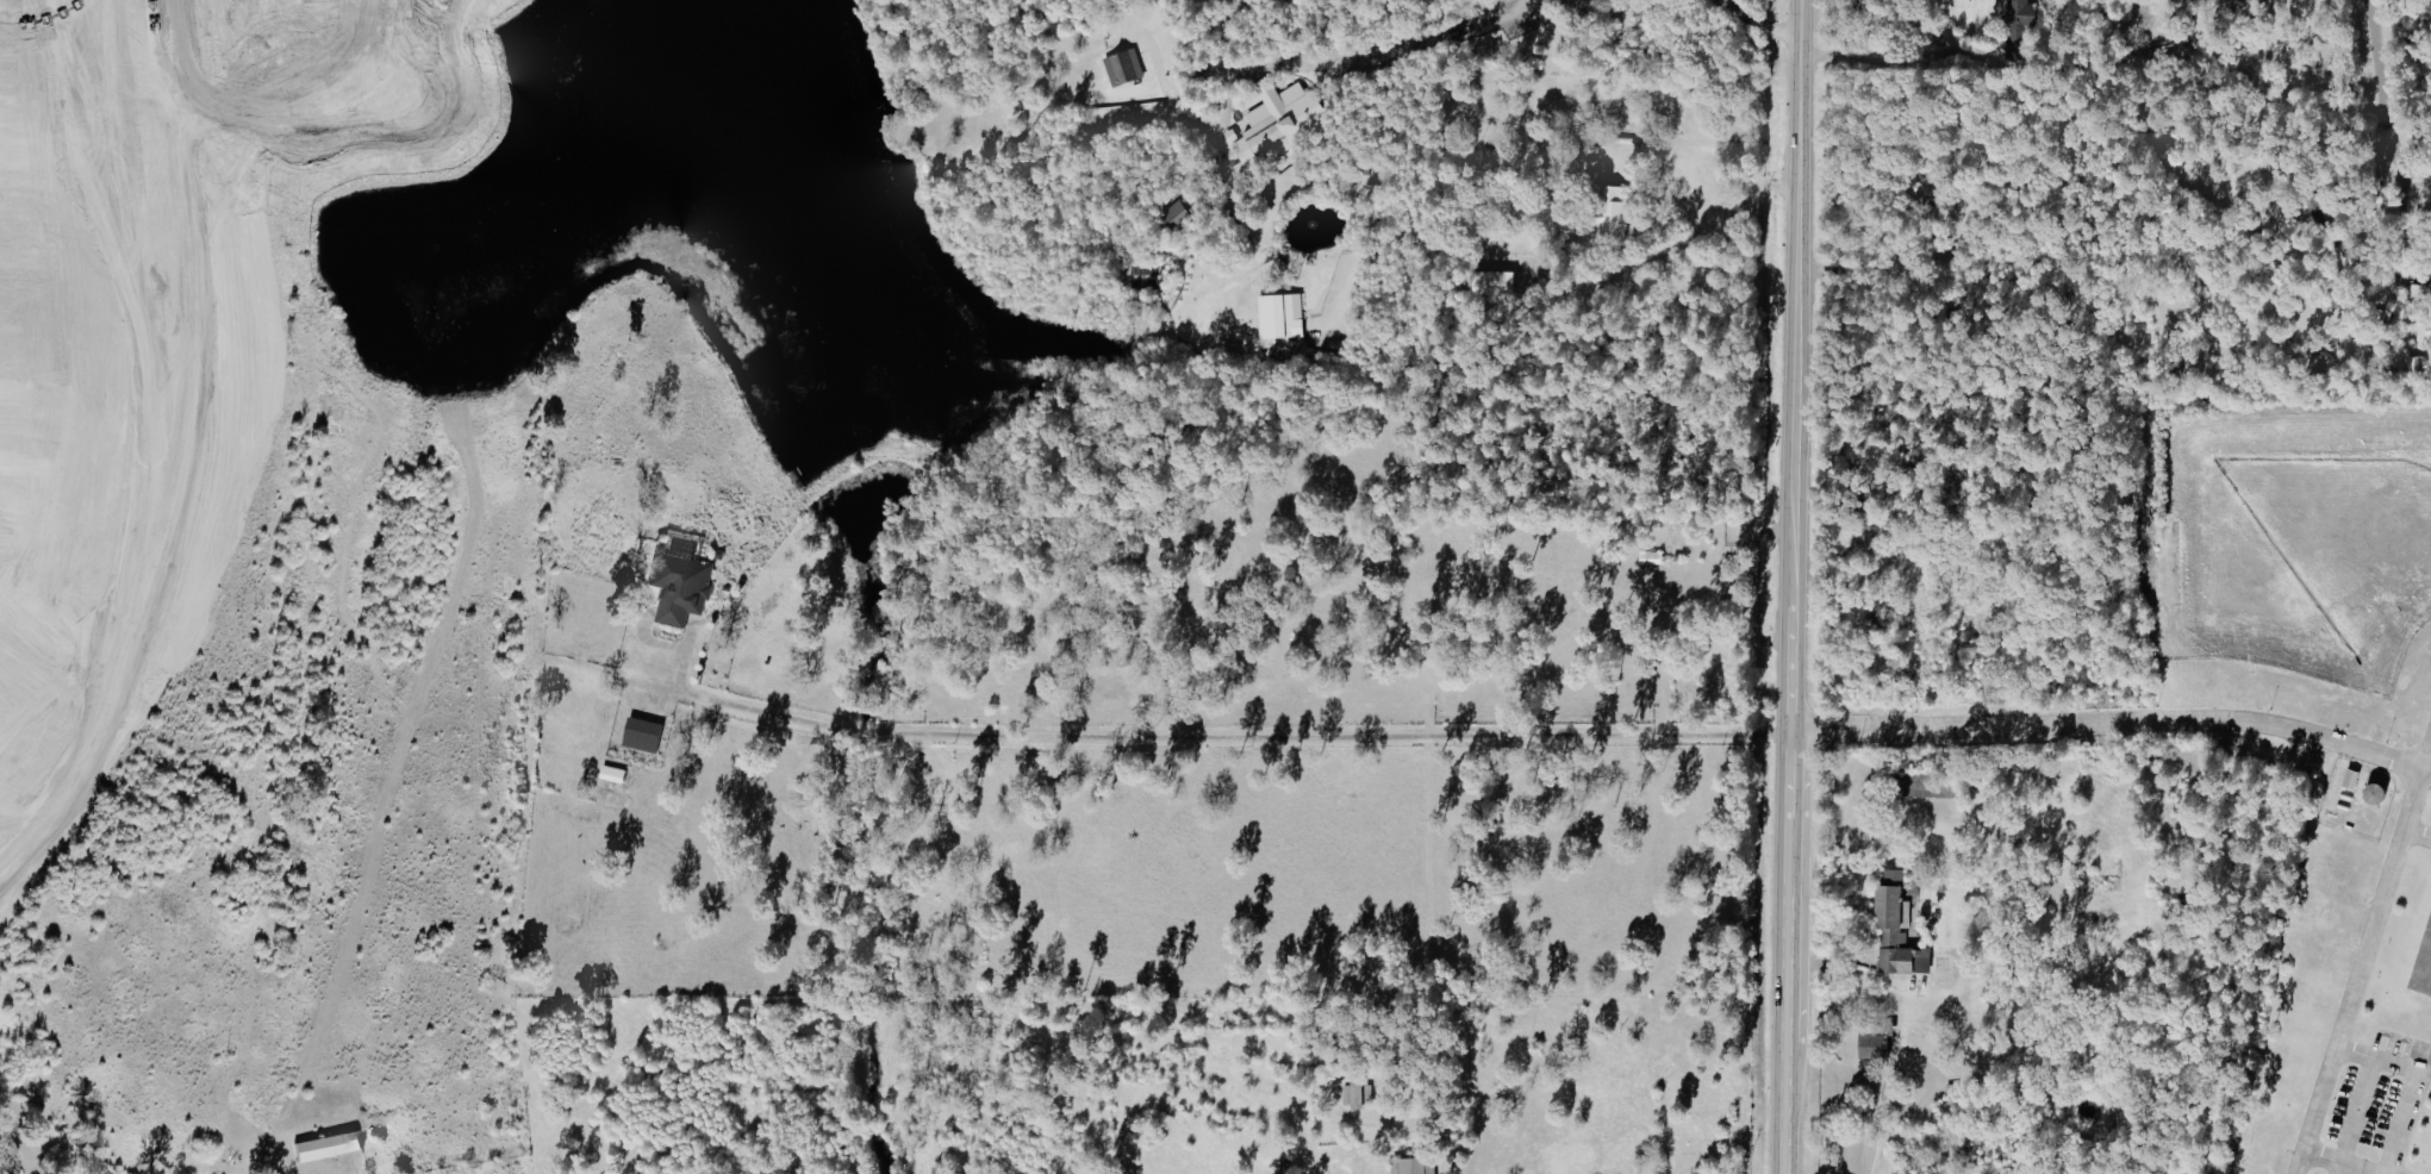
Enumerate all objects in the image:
building: (2014, 11)
road: (1754, 23)
road: (1877, 57)
road: (1385, 58)
building: (1126, 68)
road: (1797, 95)
road: (2382, 99)
road: (2323, 110)
road: (1215, 124)
building: (1278, 125)
road: (1725, 164)
road: (1292, 182)
road: (2427, 182)
road: (1180, 192)
road: (1371, 193)
building: (1612, 213)
building: (1179, 214)
building: (1495, 282)
road: (2402, 289)
building: (1283, 316)
building: (1652, 558)
building: (681, 586)
road: (1790, 682)
road: (1186, 733)
building: (644, 735)
road: (2317, 738)
road: (2424, 762)
building: (615, 774)
building: (2354, 779)
building: (1899, 930)
building: (2421, 960)
building: (1876, 1045)
road: (1887, 1085)
road: (2358, 1093)
building: (1358, 1095)
road: (2407, 1100)
parking lot: (2381, 1109)
building: (332, 1147)
road: (2335, 1162)
building: (1413, 1166)
road: (2335, 1168)

